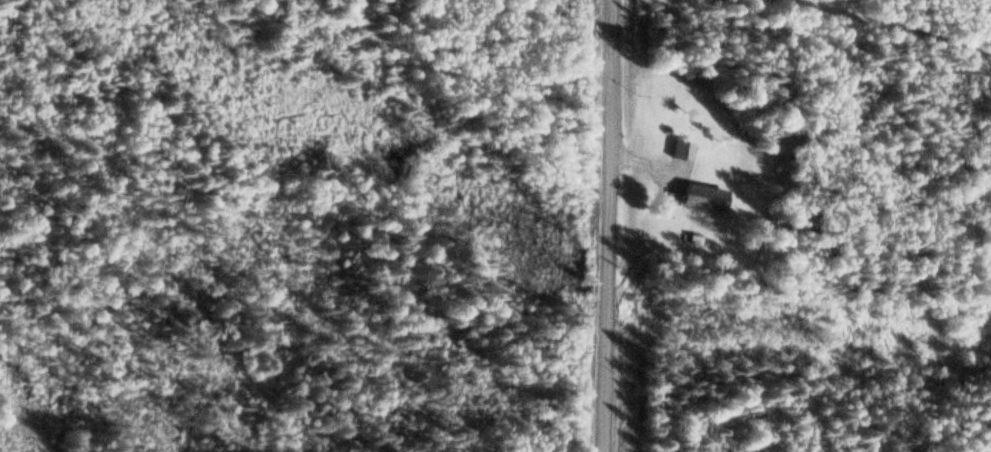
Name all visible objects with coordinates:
building: (686, 153)
building: (707, 199)
road: (624, 226)

